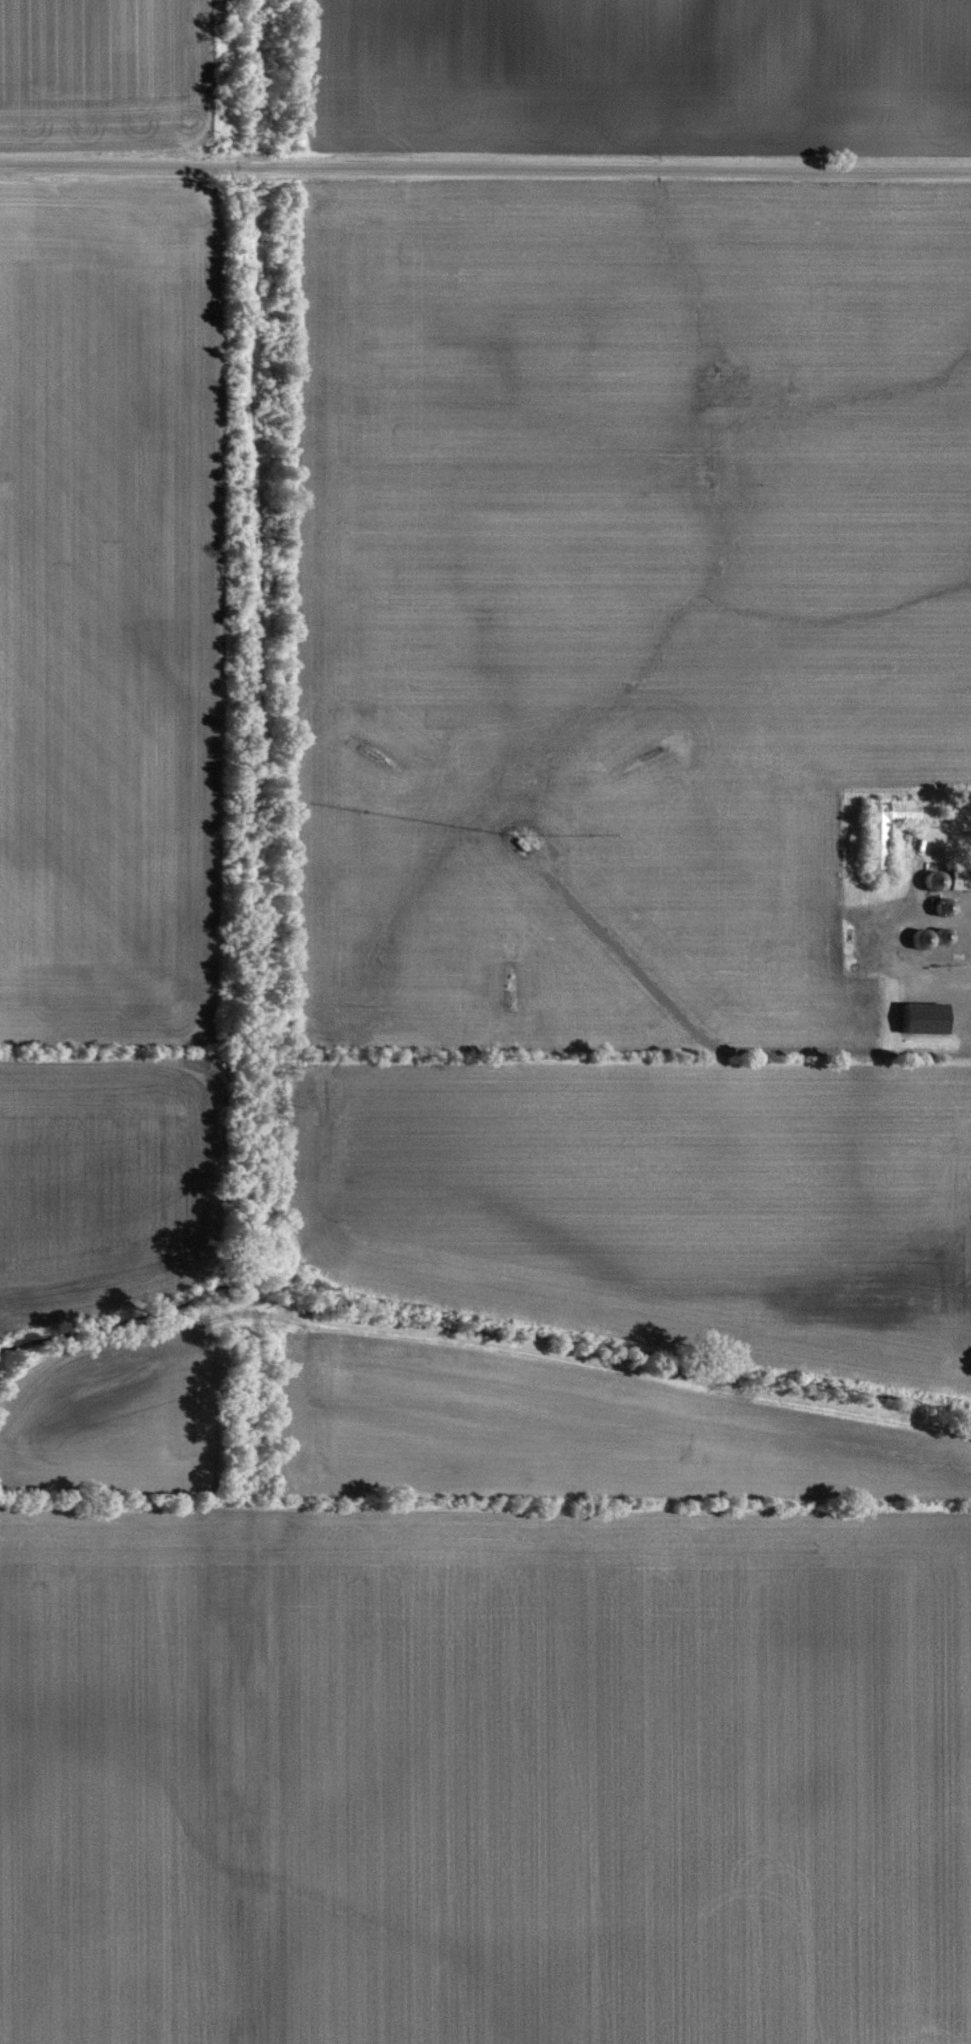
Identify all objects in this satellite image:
road: (485, 170)
building: (890, 815)
building: (927, 1017)

